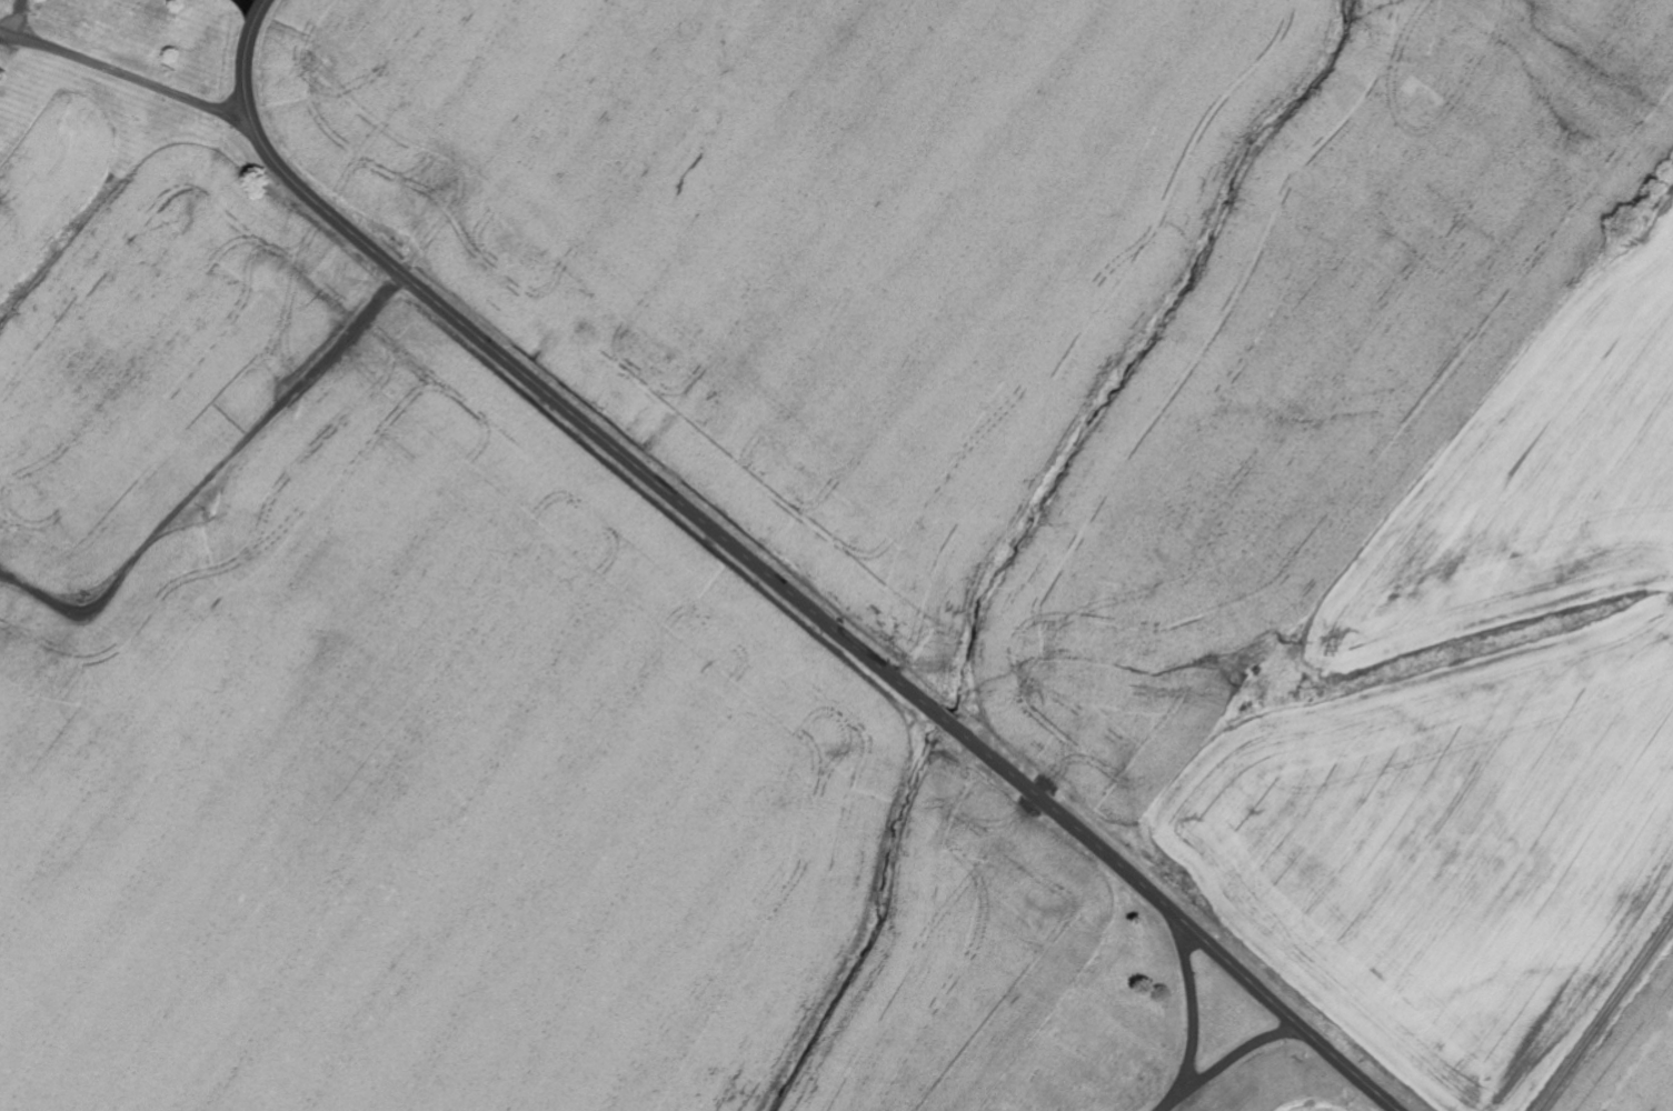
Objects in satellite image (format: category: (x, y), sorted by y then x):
road: (137, 33)
building: (1, 73)
road: (773, 579)
road: (1551, 937)
road: (1193, 1019)
park: (1099, 1048)
road: (1226, 1061)

